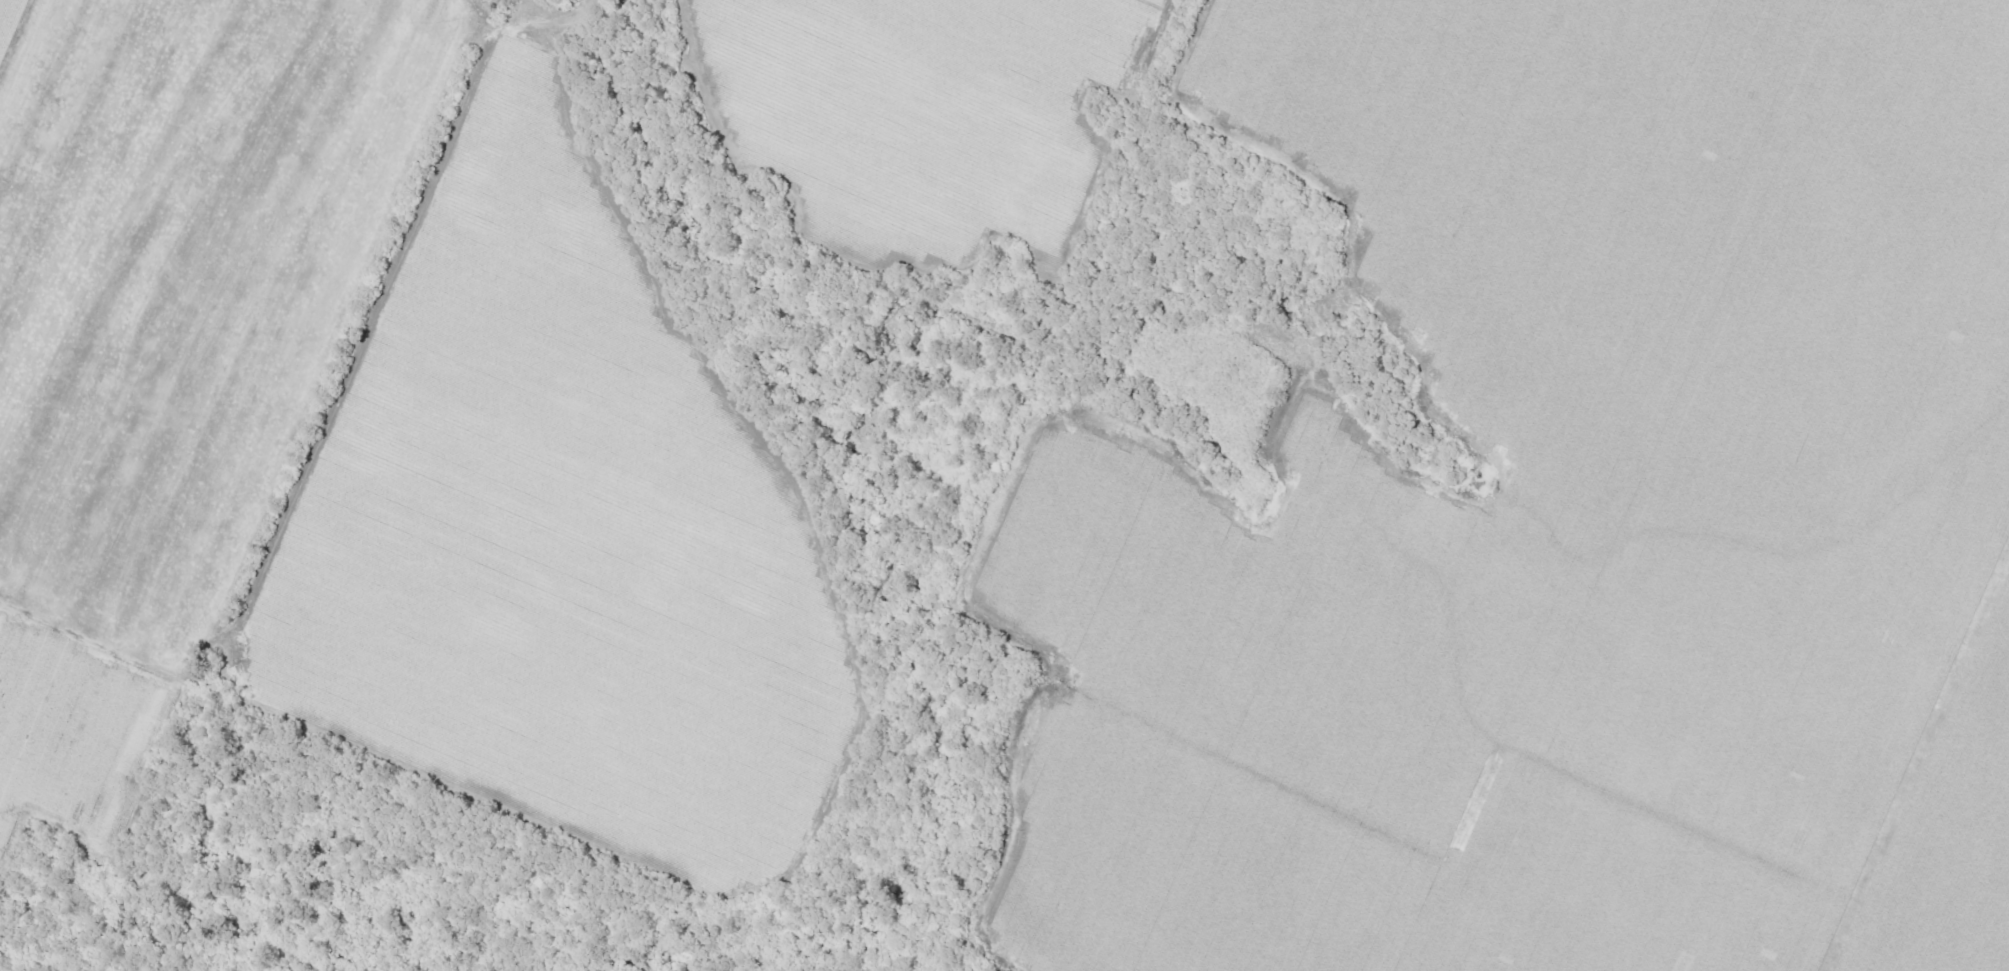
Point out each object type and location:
road: (524, 2)
road: (14, 33)

